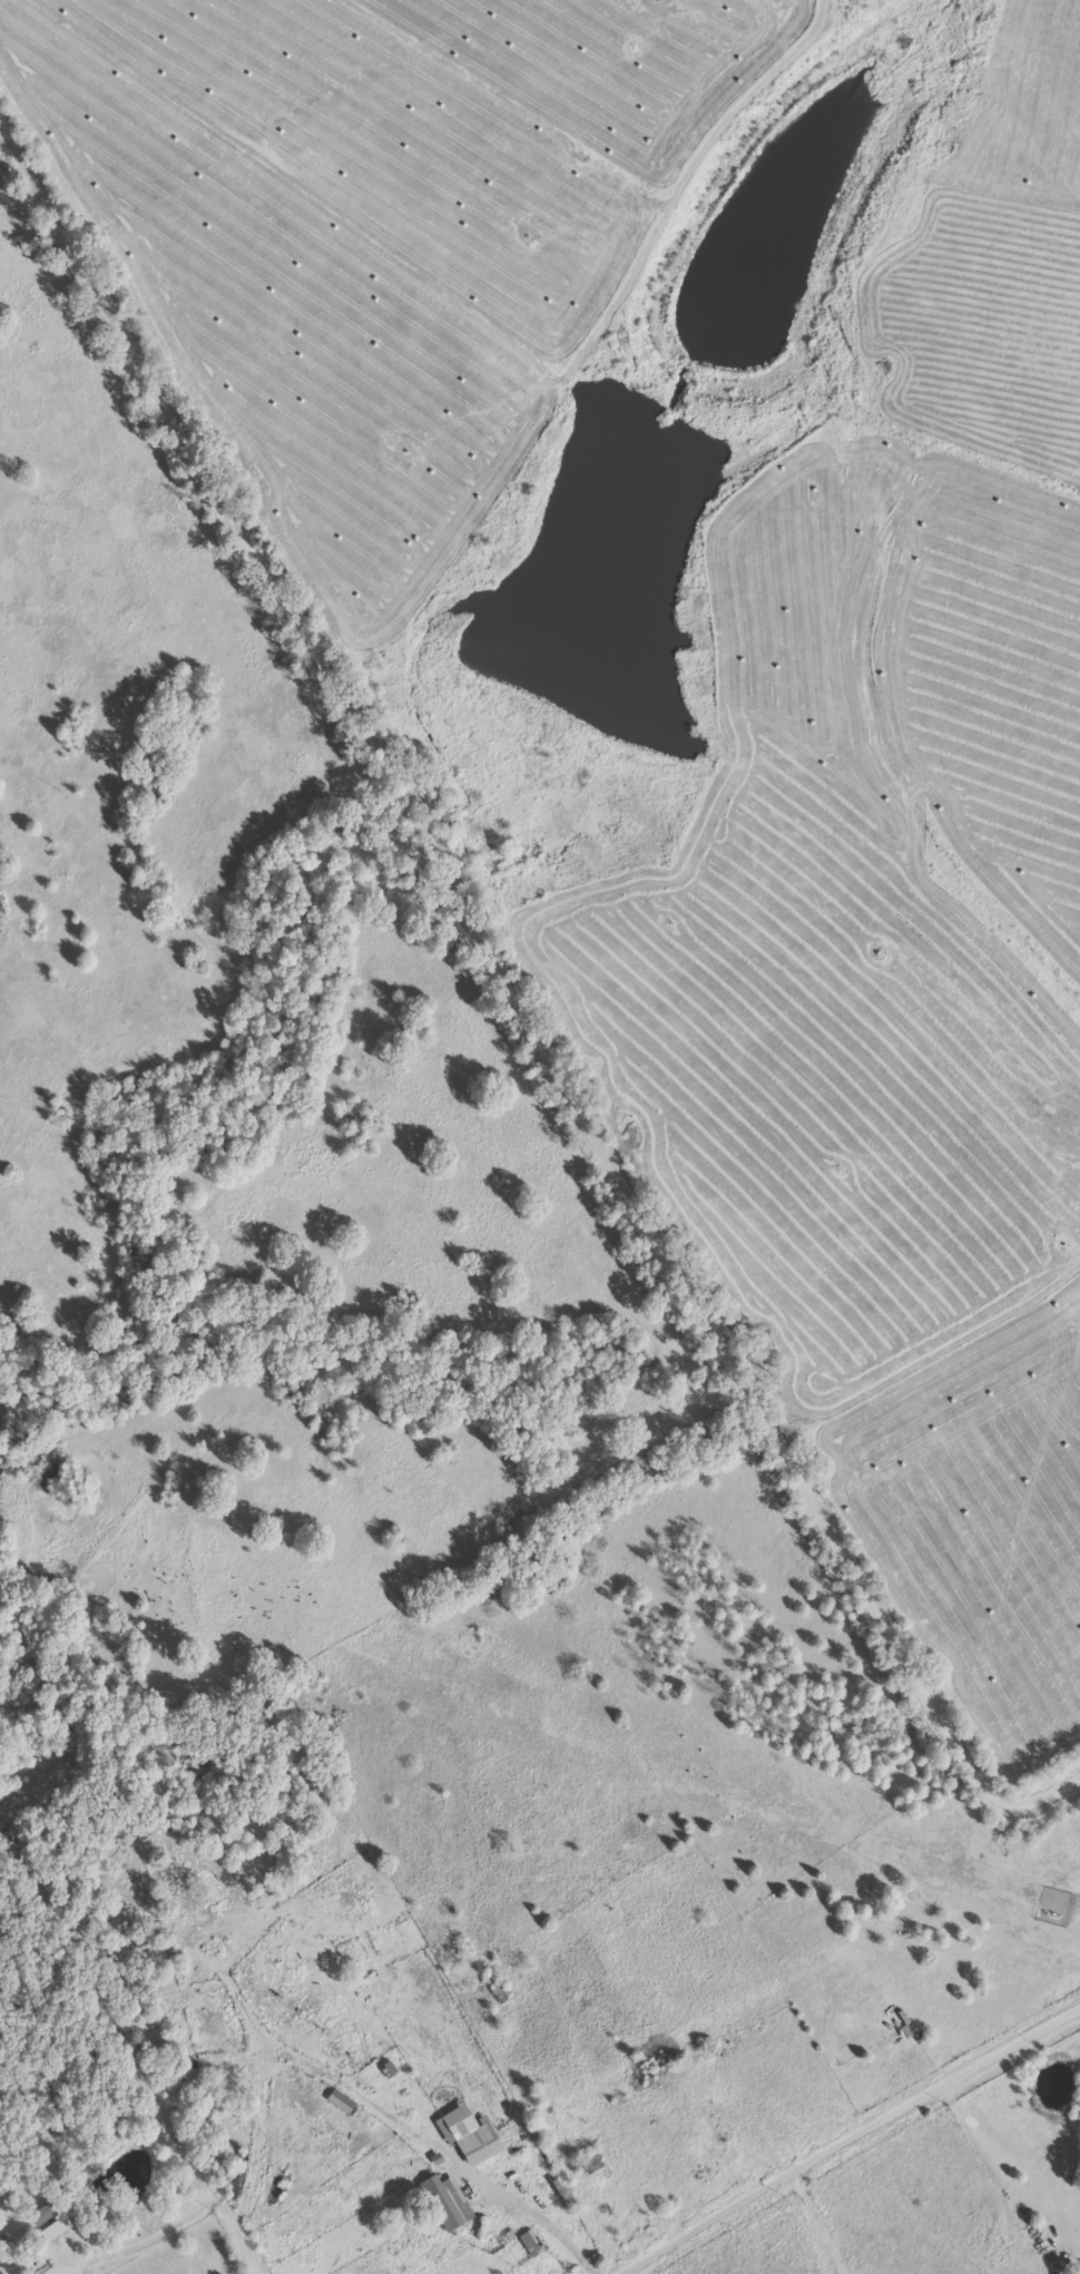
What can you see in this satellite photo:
road: (509, 998)
building: (184, 2088)
building: (342, 2101)
road: (257, 2108)
road: (847, 2136)
building: (475, 2138)
building: (445, 2202)
building: (45, 2213)
building: (49, 2233)
road: (656, 2264)

